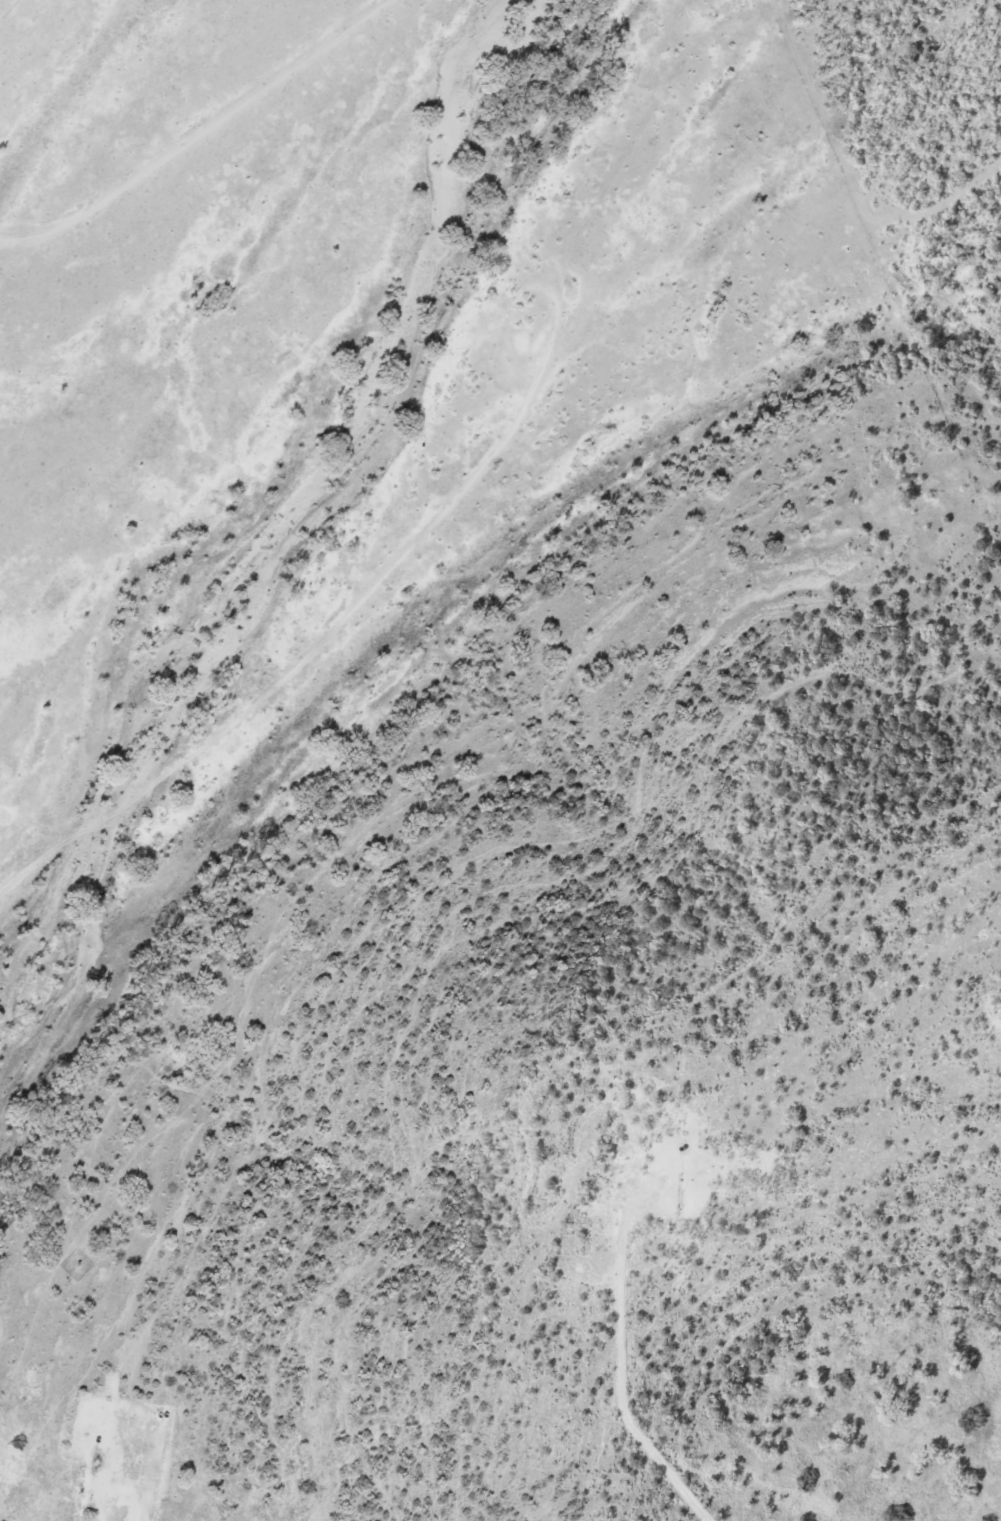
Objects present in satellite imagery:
river: (378, 409)
road: (288, 670)
river: (69, 940)

